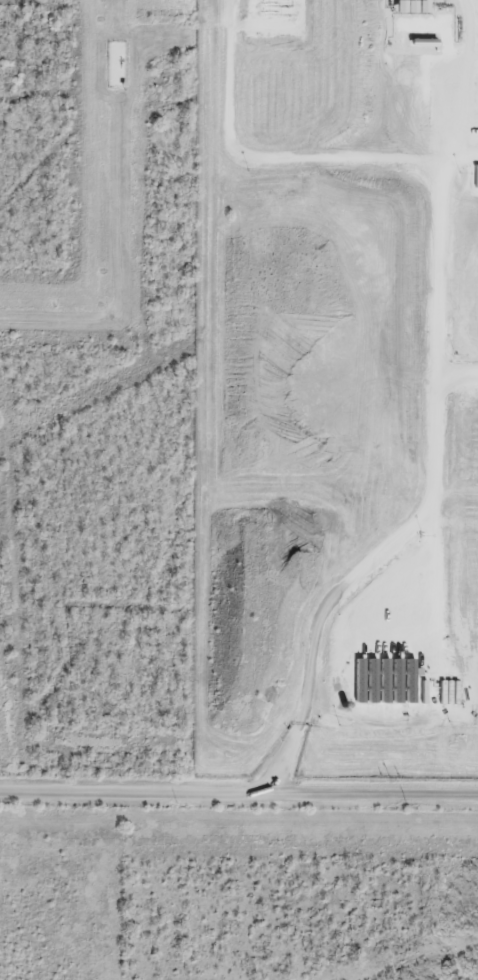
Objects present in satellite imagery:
road: (239, 791)

